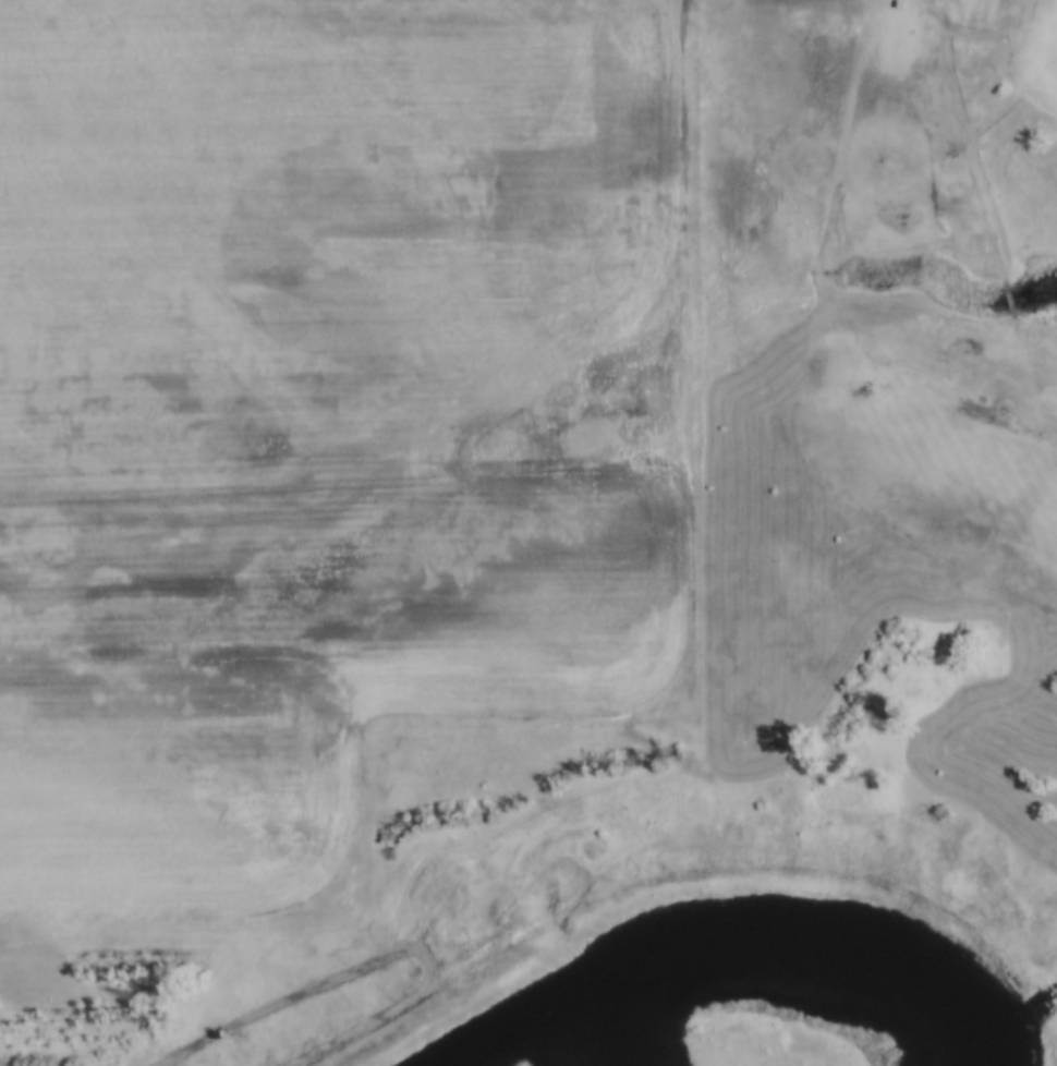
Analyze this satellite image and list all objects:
park: (939, 291)
road: (746, 356)
road: (583, 876)
road: (409, 1007)

